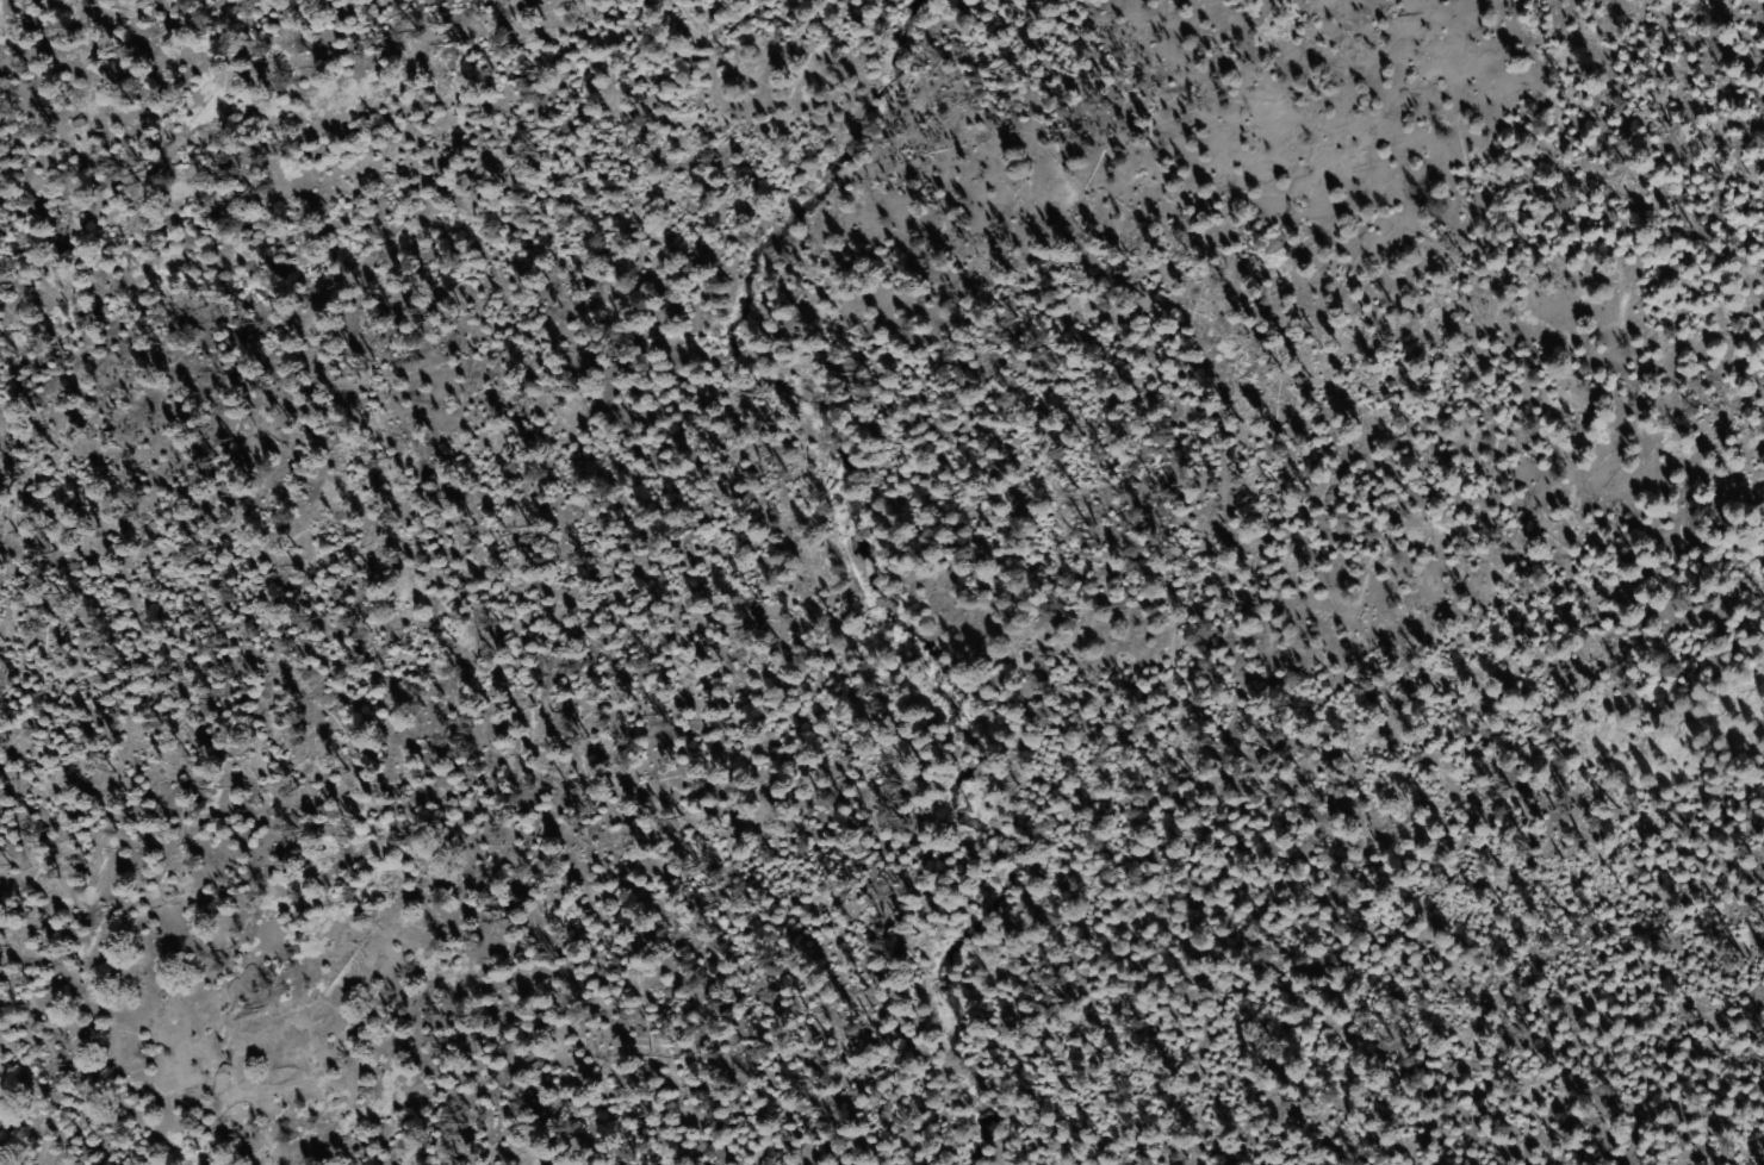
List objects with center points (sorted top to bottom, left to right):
road: (1265, 653)

